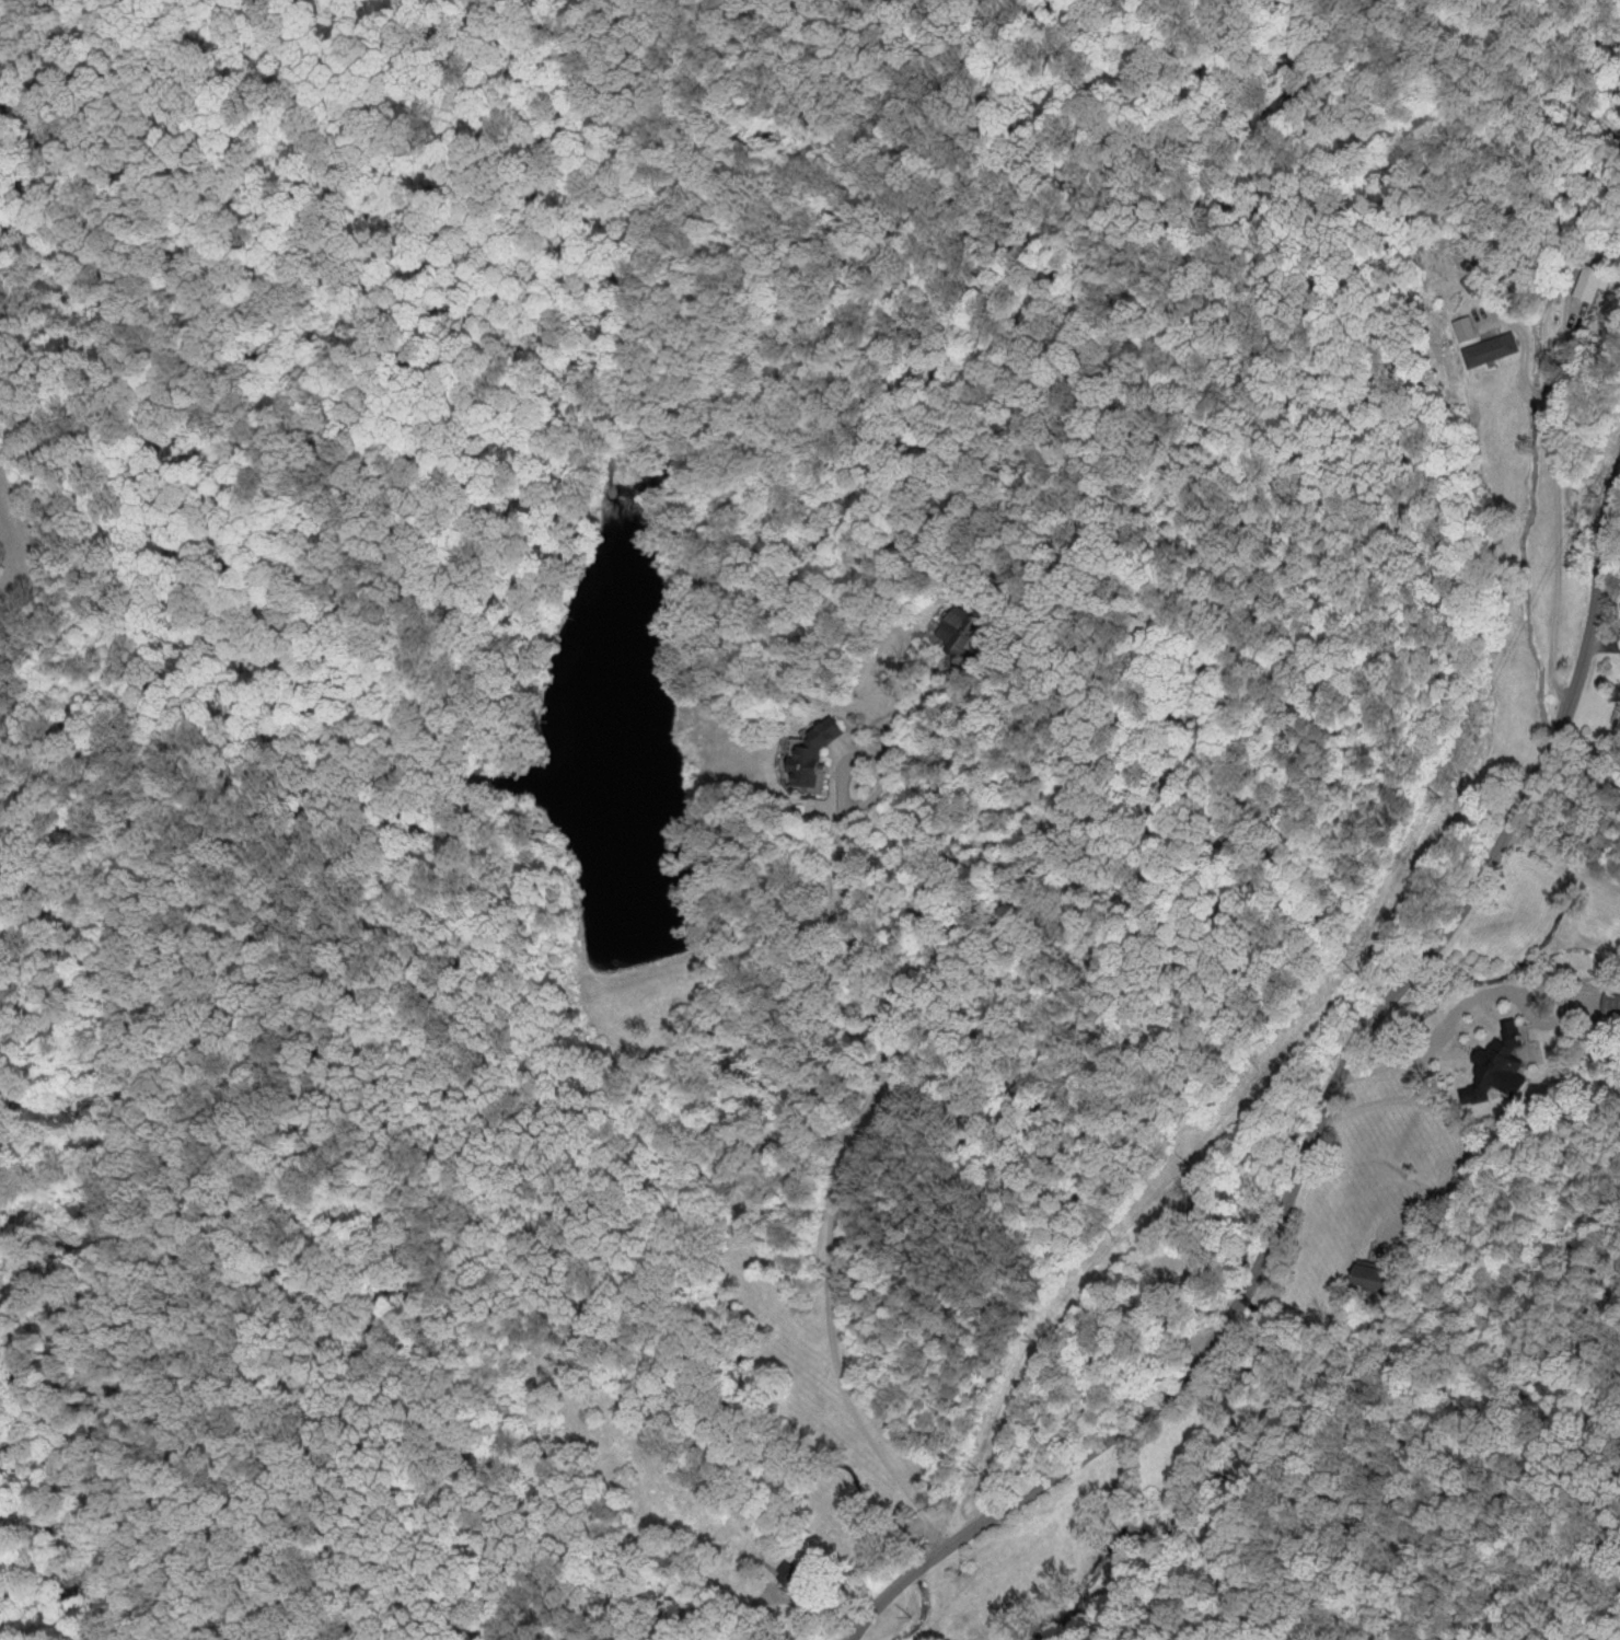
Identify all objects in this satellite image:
road: (82, 81)
building: (1461, 327)
building: (1486, 348)
road: (1549, 500)
building: (961, 631)
building: (809, 757)
road: (1564, 857)
road: (1527, 986)
building: (1609, 1005)
building: (1496, 1064)
road: (1420, 1082)
road: (1320, 1119)
road: (831, 1185)
building: (1365, 1277)

